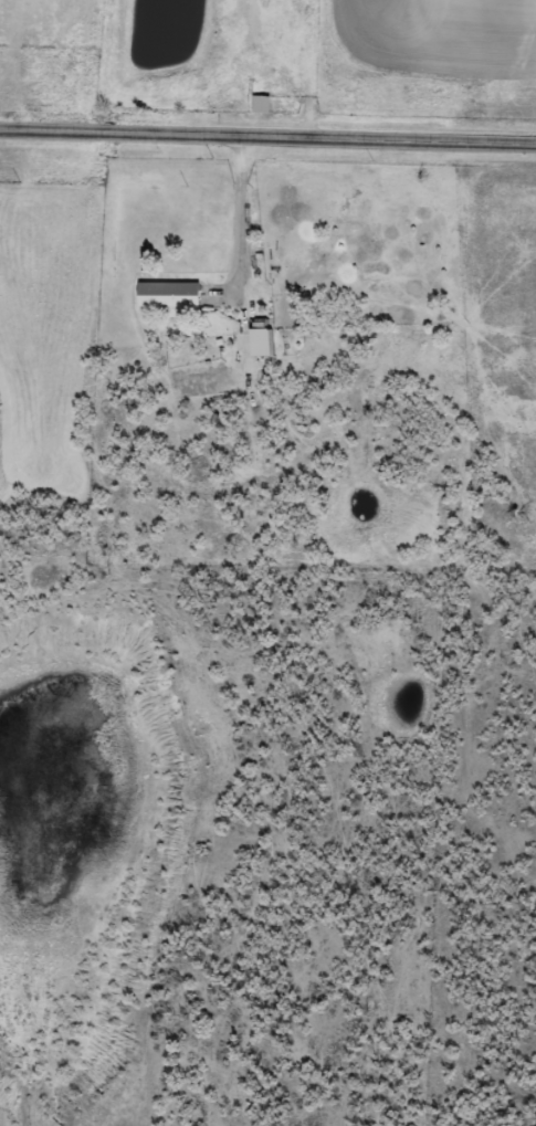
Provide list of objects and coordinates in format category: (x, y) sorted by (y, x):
road: (267, 137)
building: (165, 295)

